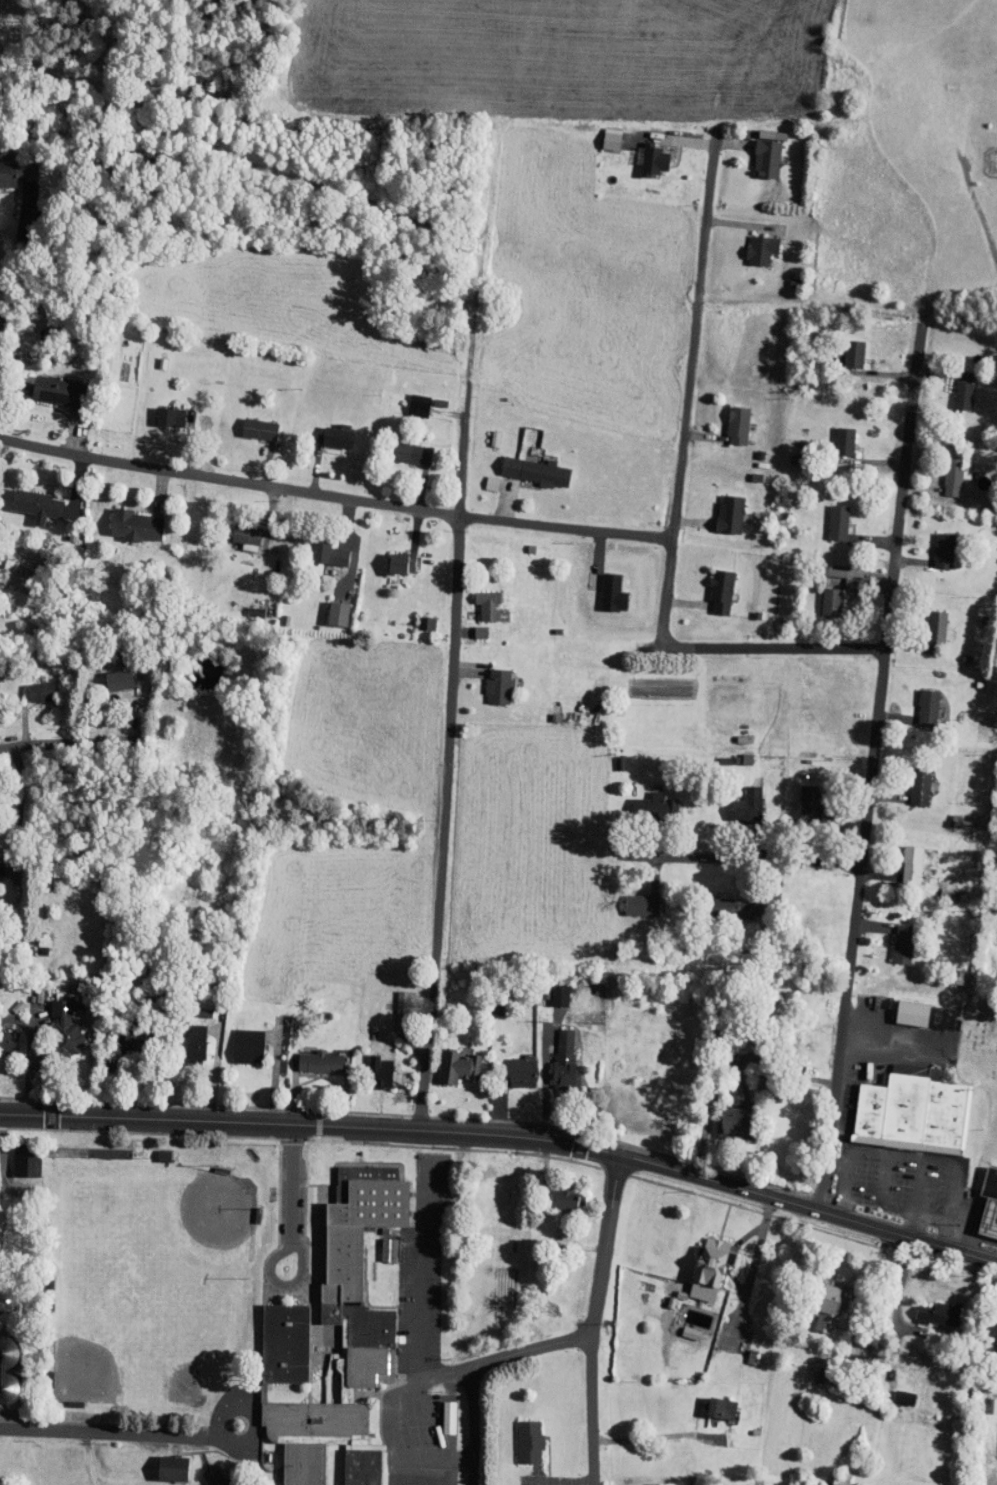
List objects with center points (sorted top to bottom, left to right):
building: (600, 132)
park: (884, 152)
building: (757, 153)
building: (643, 154)
building: (12, 166)
building: (751, 244)
road: (10, 287)
building: (843, 348)
building: (42, 384)
road: (688, 386)
building: (952, 389)
building: (407, 399)
building: (159, 411)
building: (727, 420)
building: (248, 423)
building: (326, 430)
building: (833, 435)
building: (401, 447)
building: (525, 465)
building: (941, 471)
road: (334, 497)
building: (26, 499)
building: (719, 508)
building: (827, 517)
building: (125, 520)
building: (236, 530)
building: (933, 545)
building: (316, 551)
building: (391, 557)
building: (825, 567)
building: (710, 585)
building: (602, 588)
building: (820, 596)
building: (477, 599)
building: (327, 608)
building: (415, 617)
building: (925, 622)
road: (456, 626)
building: (469, 626)
road: (744, 647)
building: (108, 672)
building: (488, 679)
building: (30, 685)
building: (917, 701)
road: (71, 748)
road: (874, 752)
building: (909, 779)
building: (644, 799)
building: (736, 799)
building: (806, 801)
building: (901, 857)
road: (731, 859)
building: (631, 898)
building: (720, 901)
building: (892, 937)
building: (548, 991)
building: (390, 999)
building: (902, 1006)
building: (933, 1011)
building: (53, 1022)
building: (125, 1032)
building: (3, 1034)
building: (185, 1035)
park: (979, 1035)
building: (236, 1039)
building: (554, 1051)
building: (309, 1055)
building: (446, 1060)
building: (369, 1062)
building: (512, 1062)
building: (913, 1064)
building: (902, 1107)
building: (727, 1108)
road: (506, 1137)
building: (15, 1155)
road: (291, 1184)
building: (554, 1191)
building: (984, 1198)
park: (185, 1224)
building: (377, 1243)
building: (390, 1250)
road: (273, 1258)
building: (700, 1262)
road: (423, 1269)
parking lot: (423, 1270)
building: (820, 1296)
building: (0, 1297)
building: (929, 1307)
building: (0, 1315)
road: (590, 1318)
building: (988, 1323)
park: (122, 1332)
building: (369, 1340)
building: (4, 1345)
road: (530, 1348)
road: (446, 1372)
building: (4, 1382)
building: (711, 1401)
building: (438, 1410)
road: (252, 1411)
road: (392, 1414)
parking lot: (425, 1423)
road: (471, 1425)
road: (645, 1431)
road: (108, 1432)
building: (518, 1435)
road: (438, 1458)
building: (163, 1462)
building: (175, 1466)
road: (406, 1471)
parking lot: (423, 1471)
building: (203, 1472)
road: (439, 1472)
building: (830, 1472)
building: (218, 1476)

